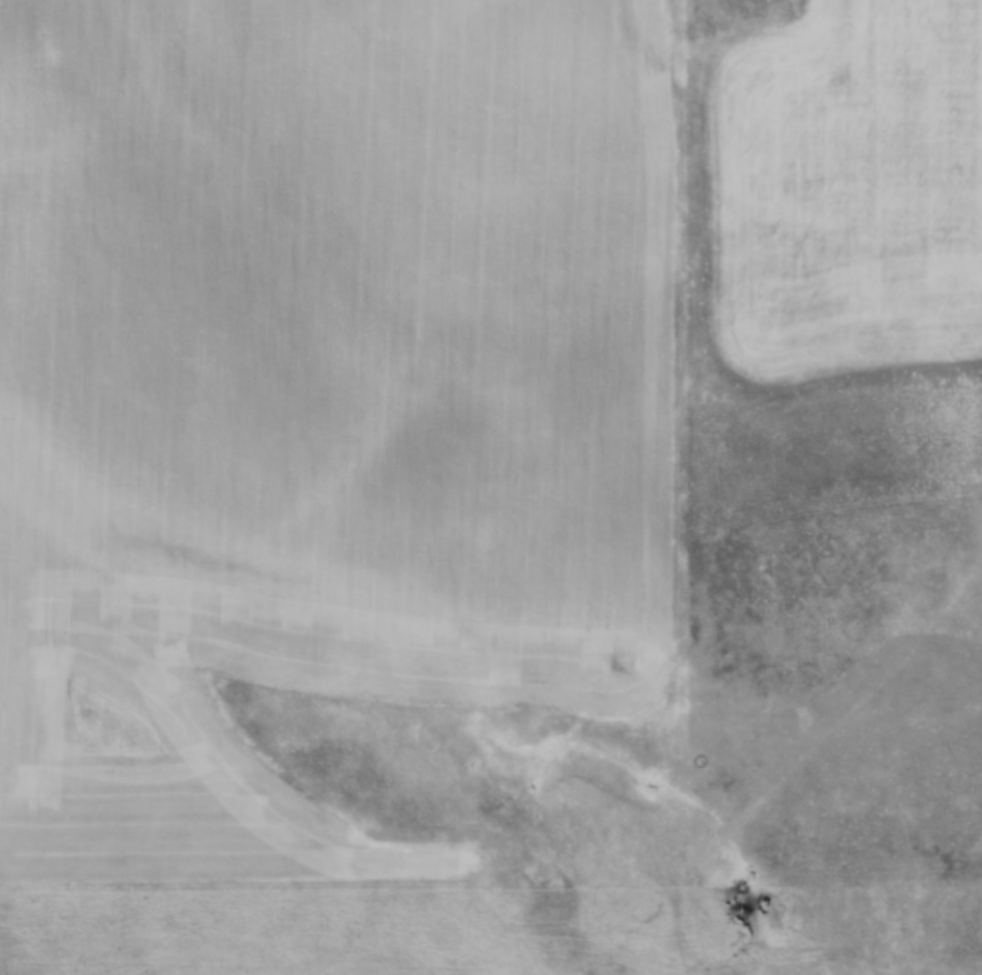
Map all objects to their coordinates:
road: (715, 13)

